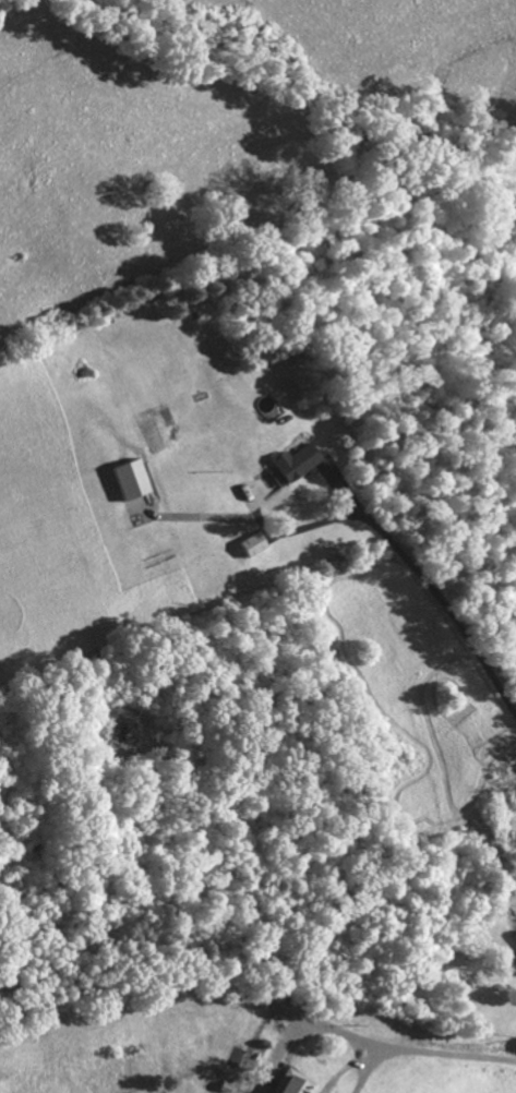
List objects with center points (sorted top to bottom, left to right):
building: (288, 461)
building: (125, 478)
road: (442, 602)
building: (511, 957)
road: (301, 1028)
road: (447, 1053)
road: (367, 1068)
building: (286, 1082)

